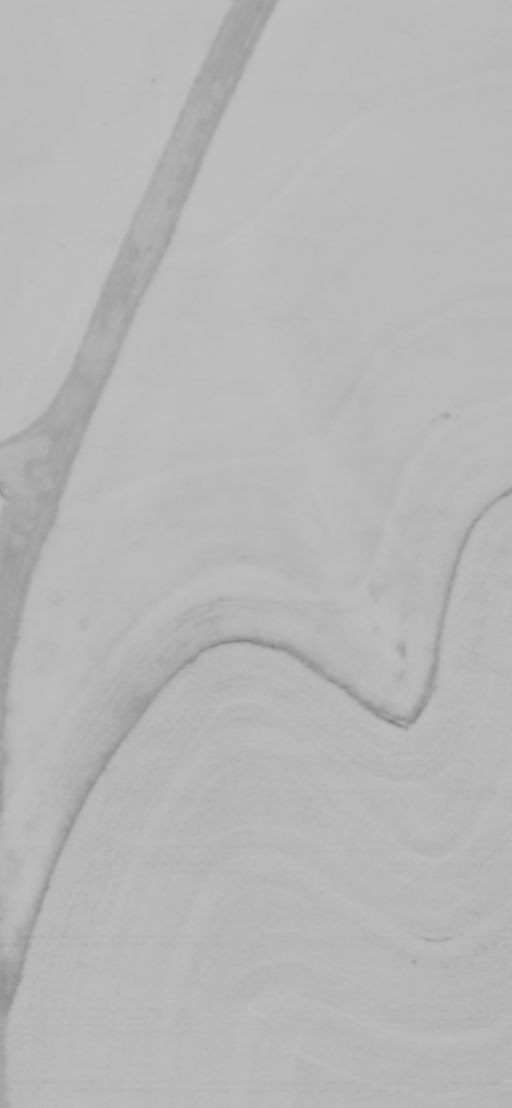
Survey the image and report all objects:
road: (141, 246)
road: (30, 563)

